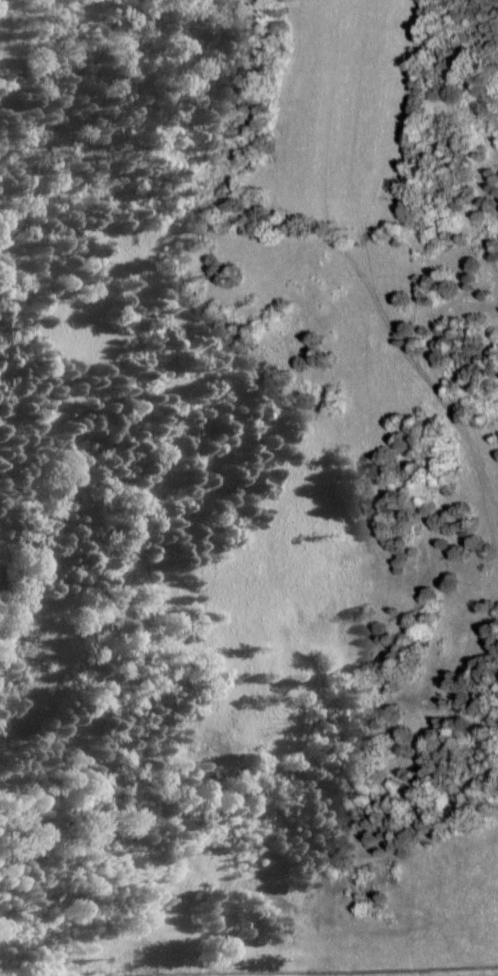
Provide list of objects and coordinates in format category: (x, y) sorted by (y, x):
crop: (339, 97)

